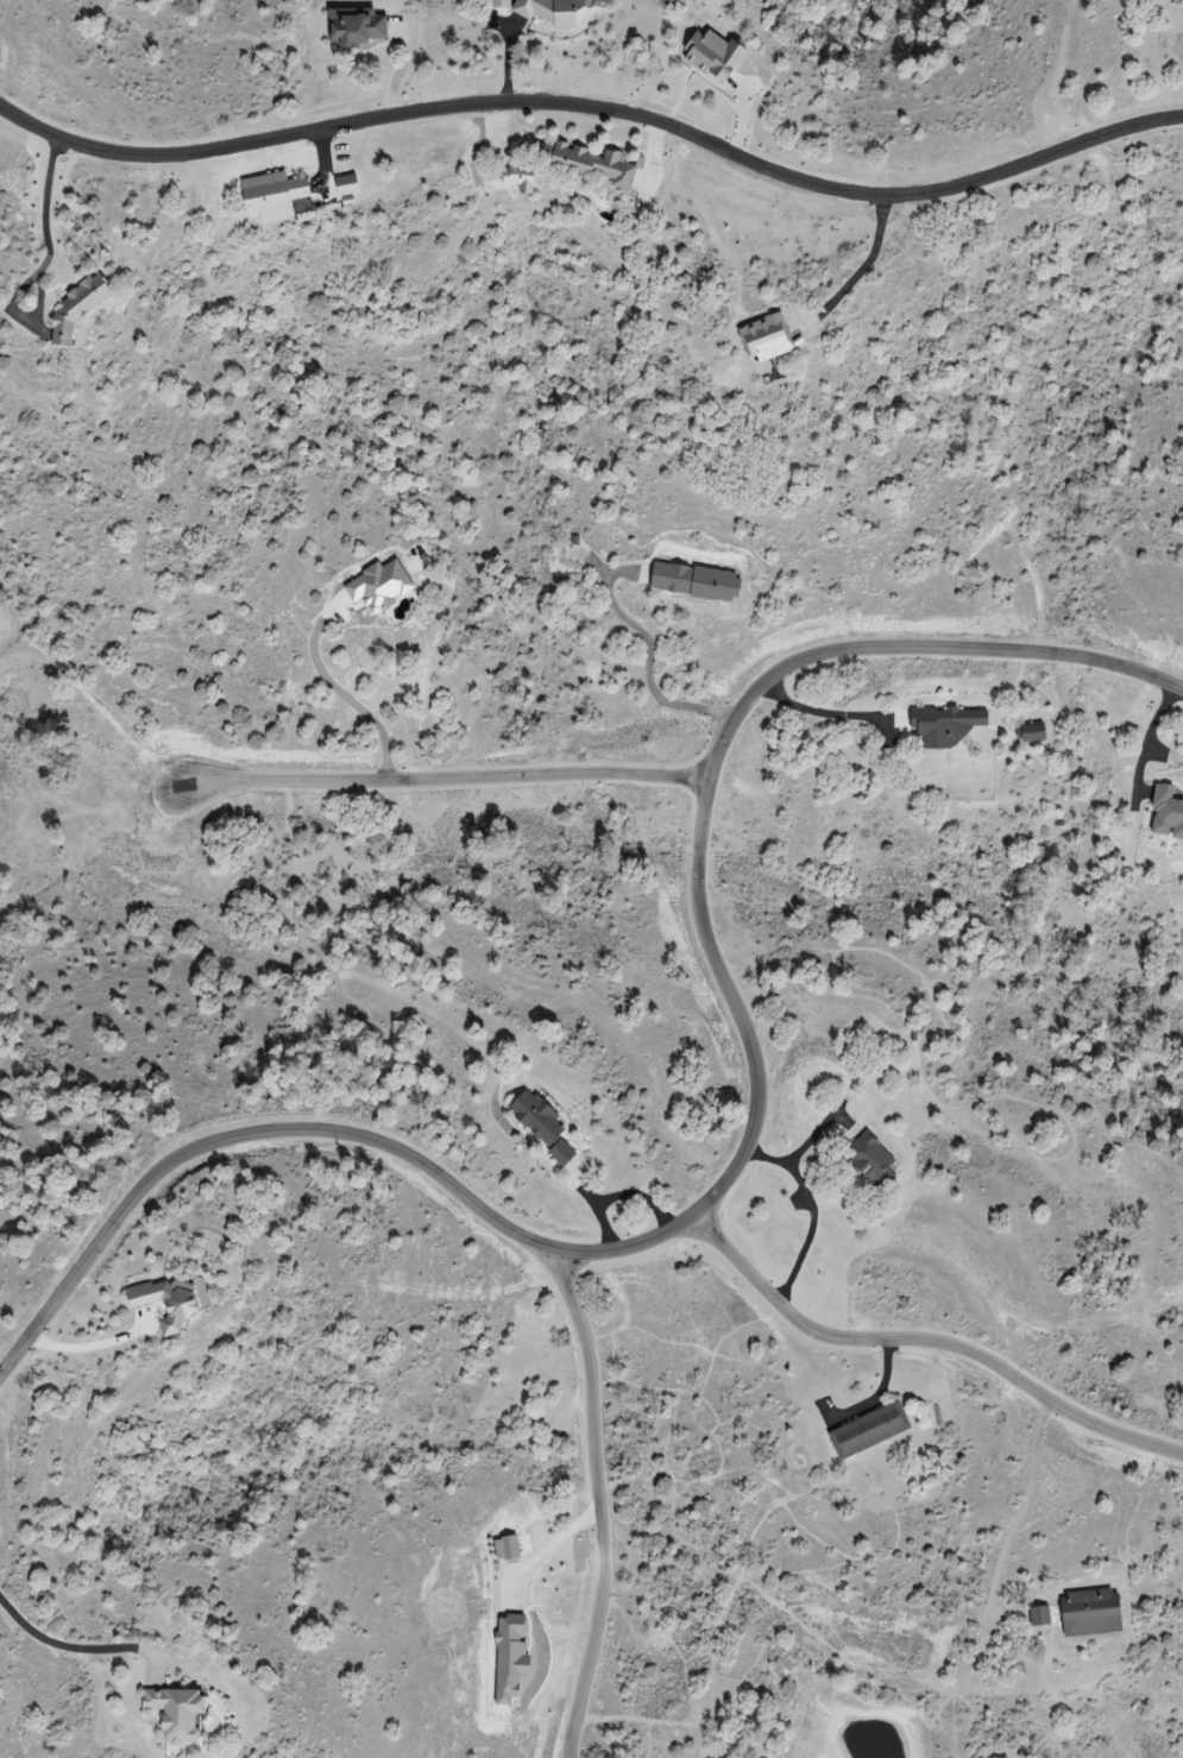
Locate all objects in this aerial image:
building: (360, 27)
building: (716, 56)
road: (596, 108)
building: (590, 165)
building: (347, 187)
building: (273, 197)
road: (45, 206)
road: (870, 263)
building: (78, 309)
building: (767, 340)
building: (688, 580)
road: (652, 654)
road: (818, 716)
building: (948, 725)
building: (1032, 732)
road: (435, 773)
building: (543, 1126)
road: (743, 1149)
building: (873, 1161)
road: (811, 1209)
building: (169, 1303)
road: (929, 1340)
road: (87, 1347)
building: (870, 1430)
road: (590, 1501)
road: (1025, 1507)
road: (541, 1552)
building: (1091, 1613)
building: (1040, 1617)
road: (73, 1649)
building: (178, 1713)

